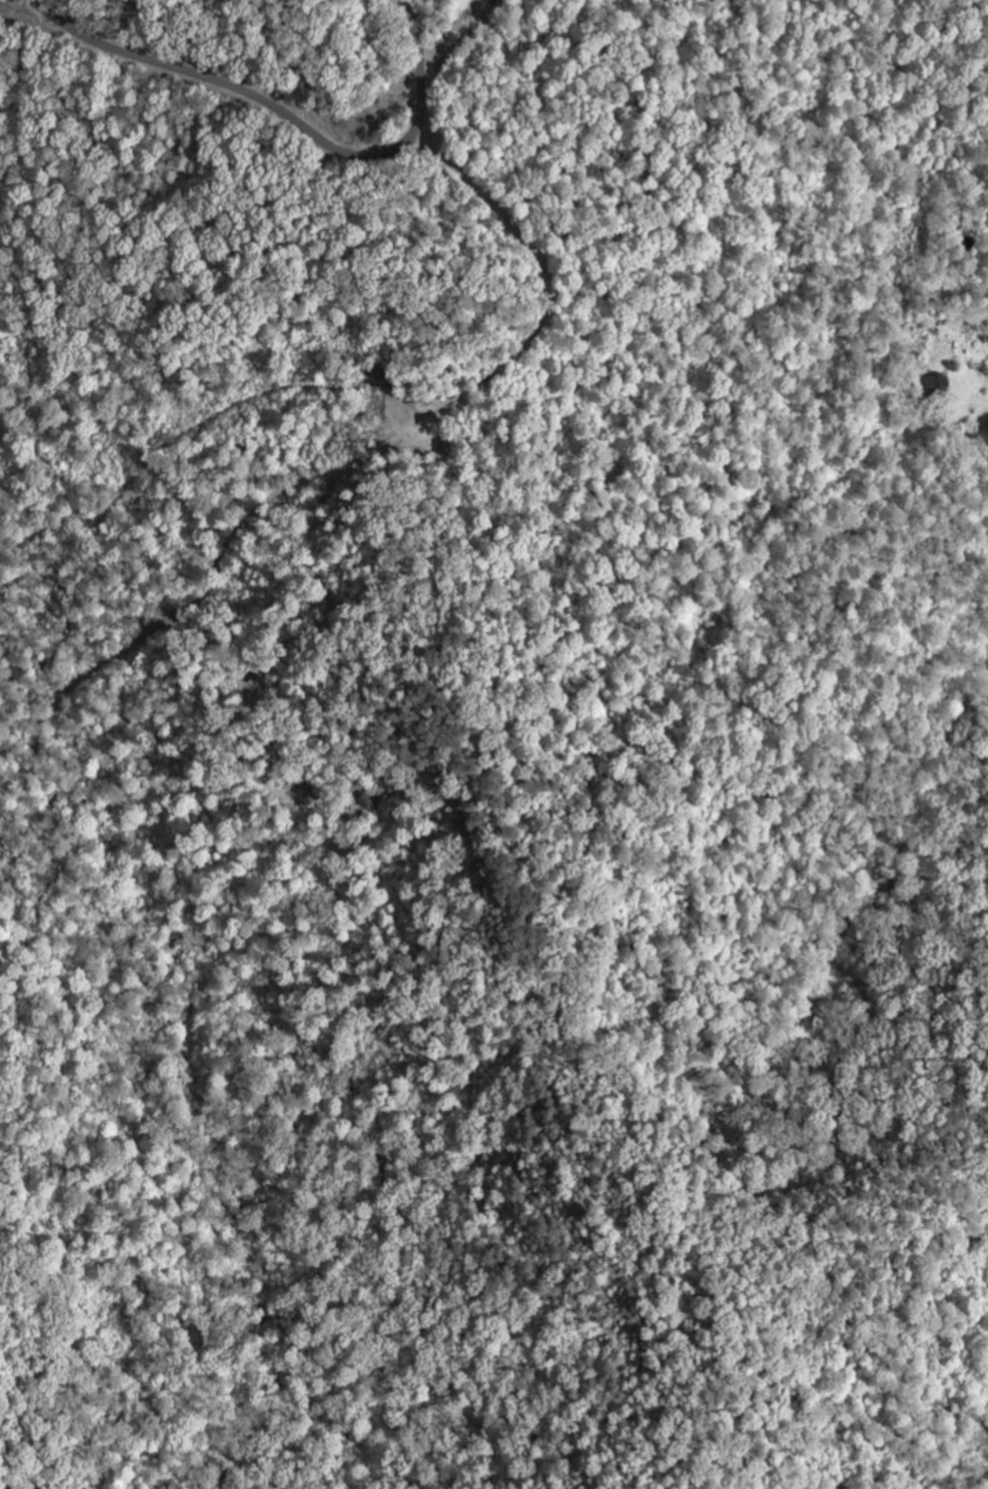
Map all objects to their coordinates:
road: (288, 113)
road: (974, 322)

